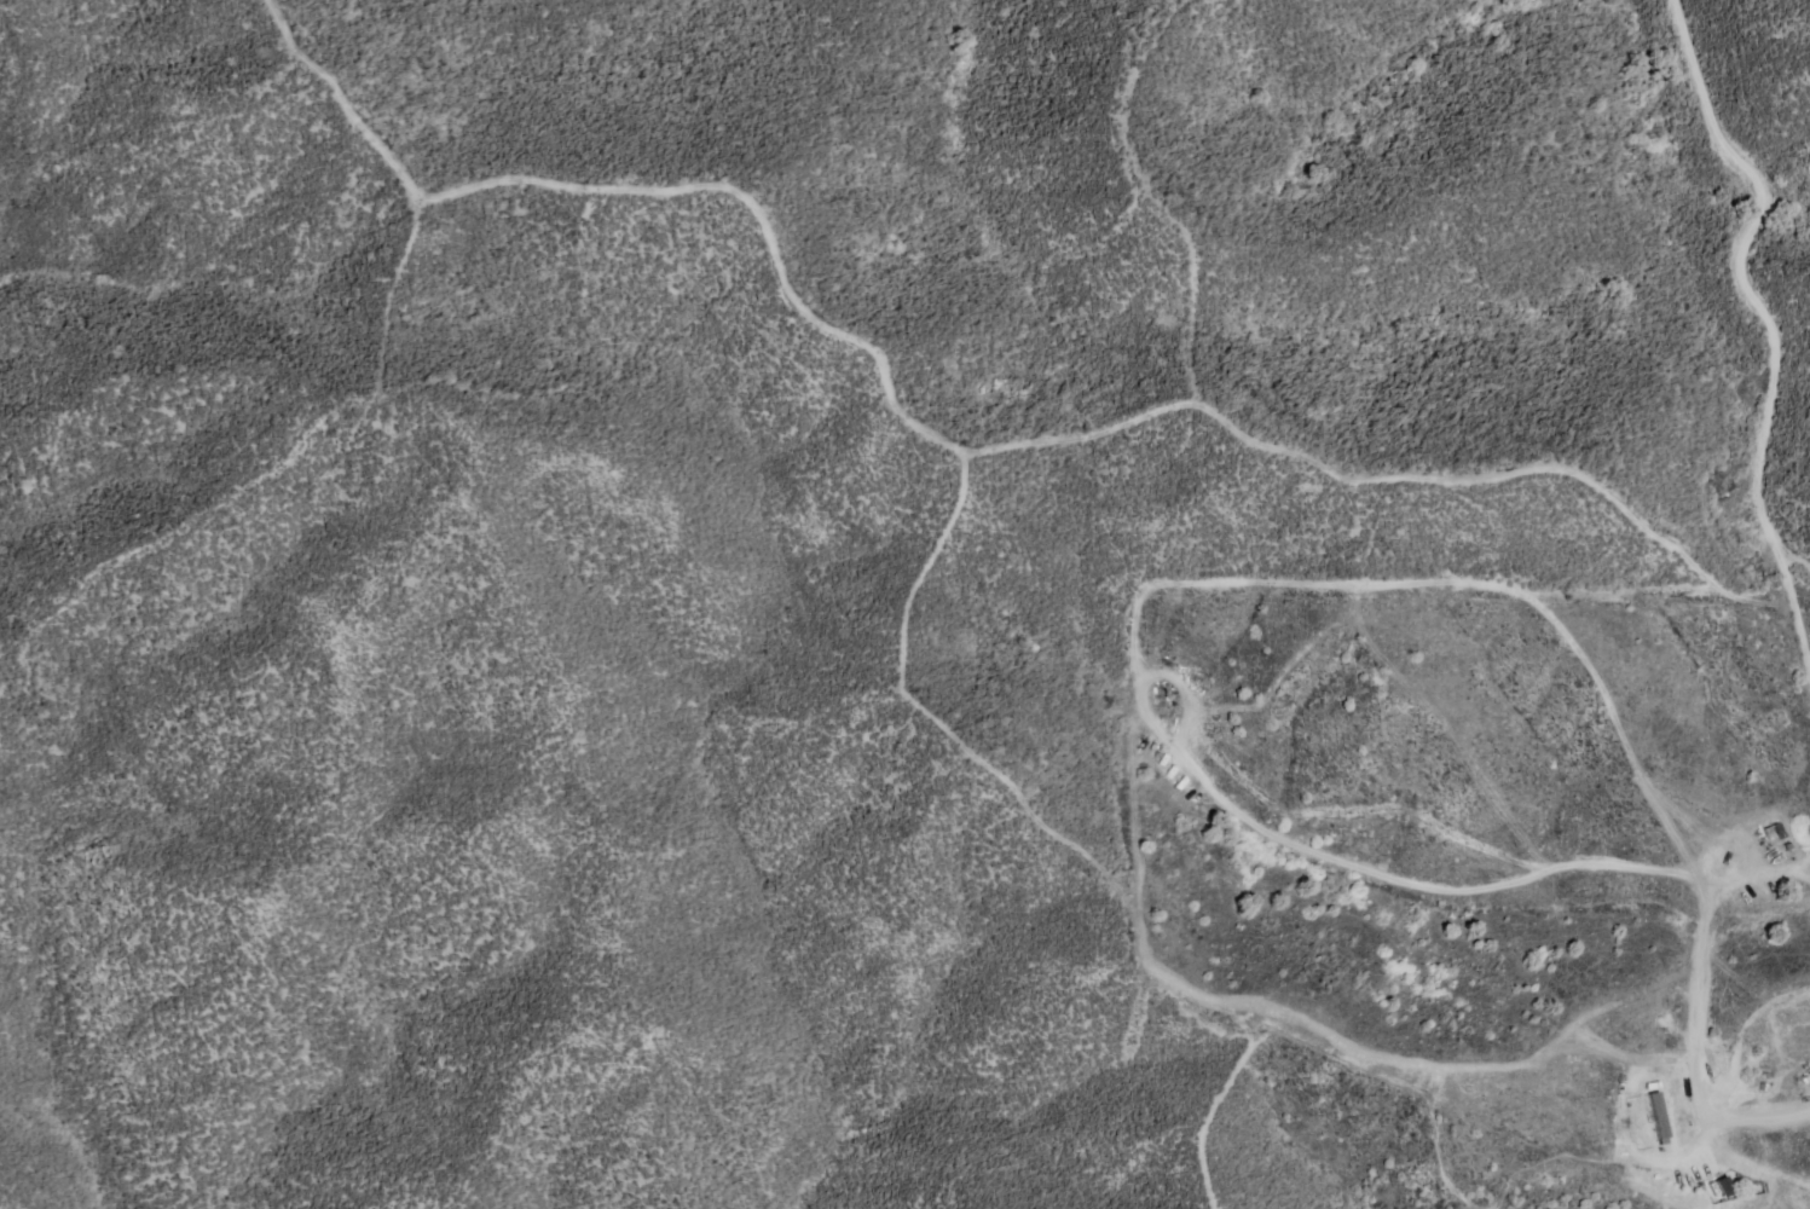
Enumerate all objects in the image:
road: (1766, 314)
building: (1658, 1113)
building: (1727, 1185)

